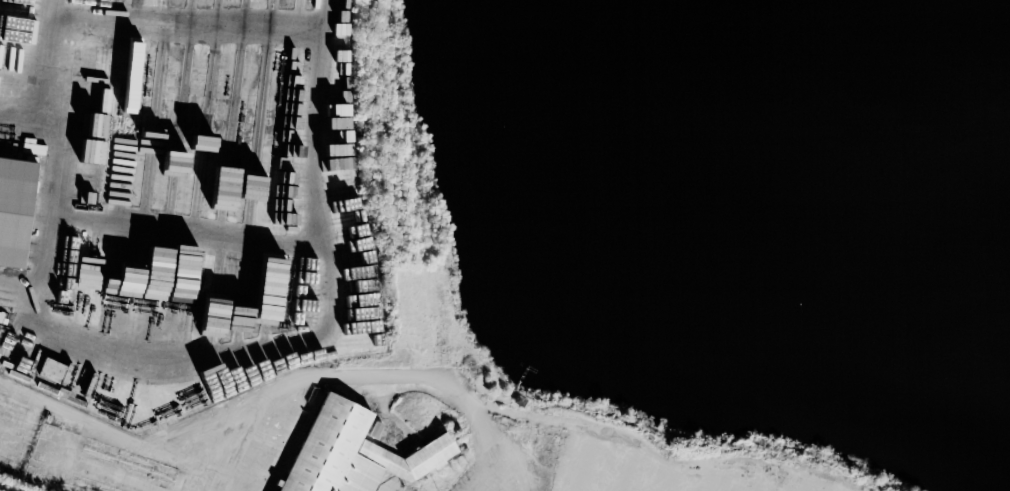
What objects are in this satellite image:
road: (187, 21)
road: (29, 119)
road: (56, 157)
building: (15, 209)
road: (188, 236)
road: (18, 307)
road: (329, 316)
road: (373, 375)
road: (111, 428)
building: (352, 452)
road: (659, 457)
road: (223, 484)

